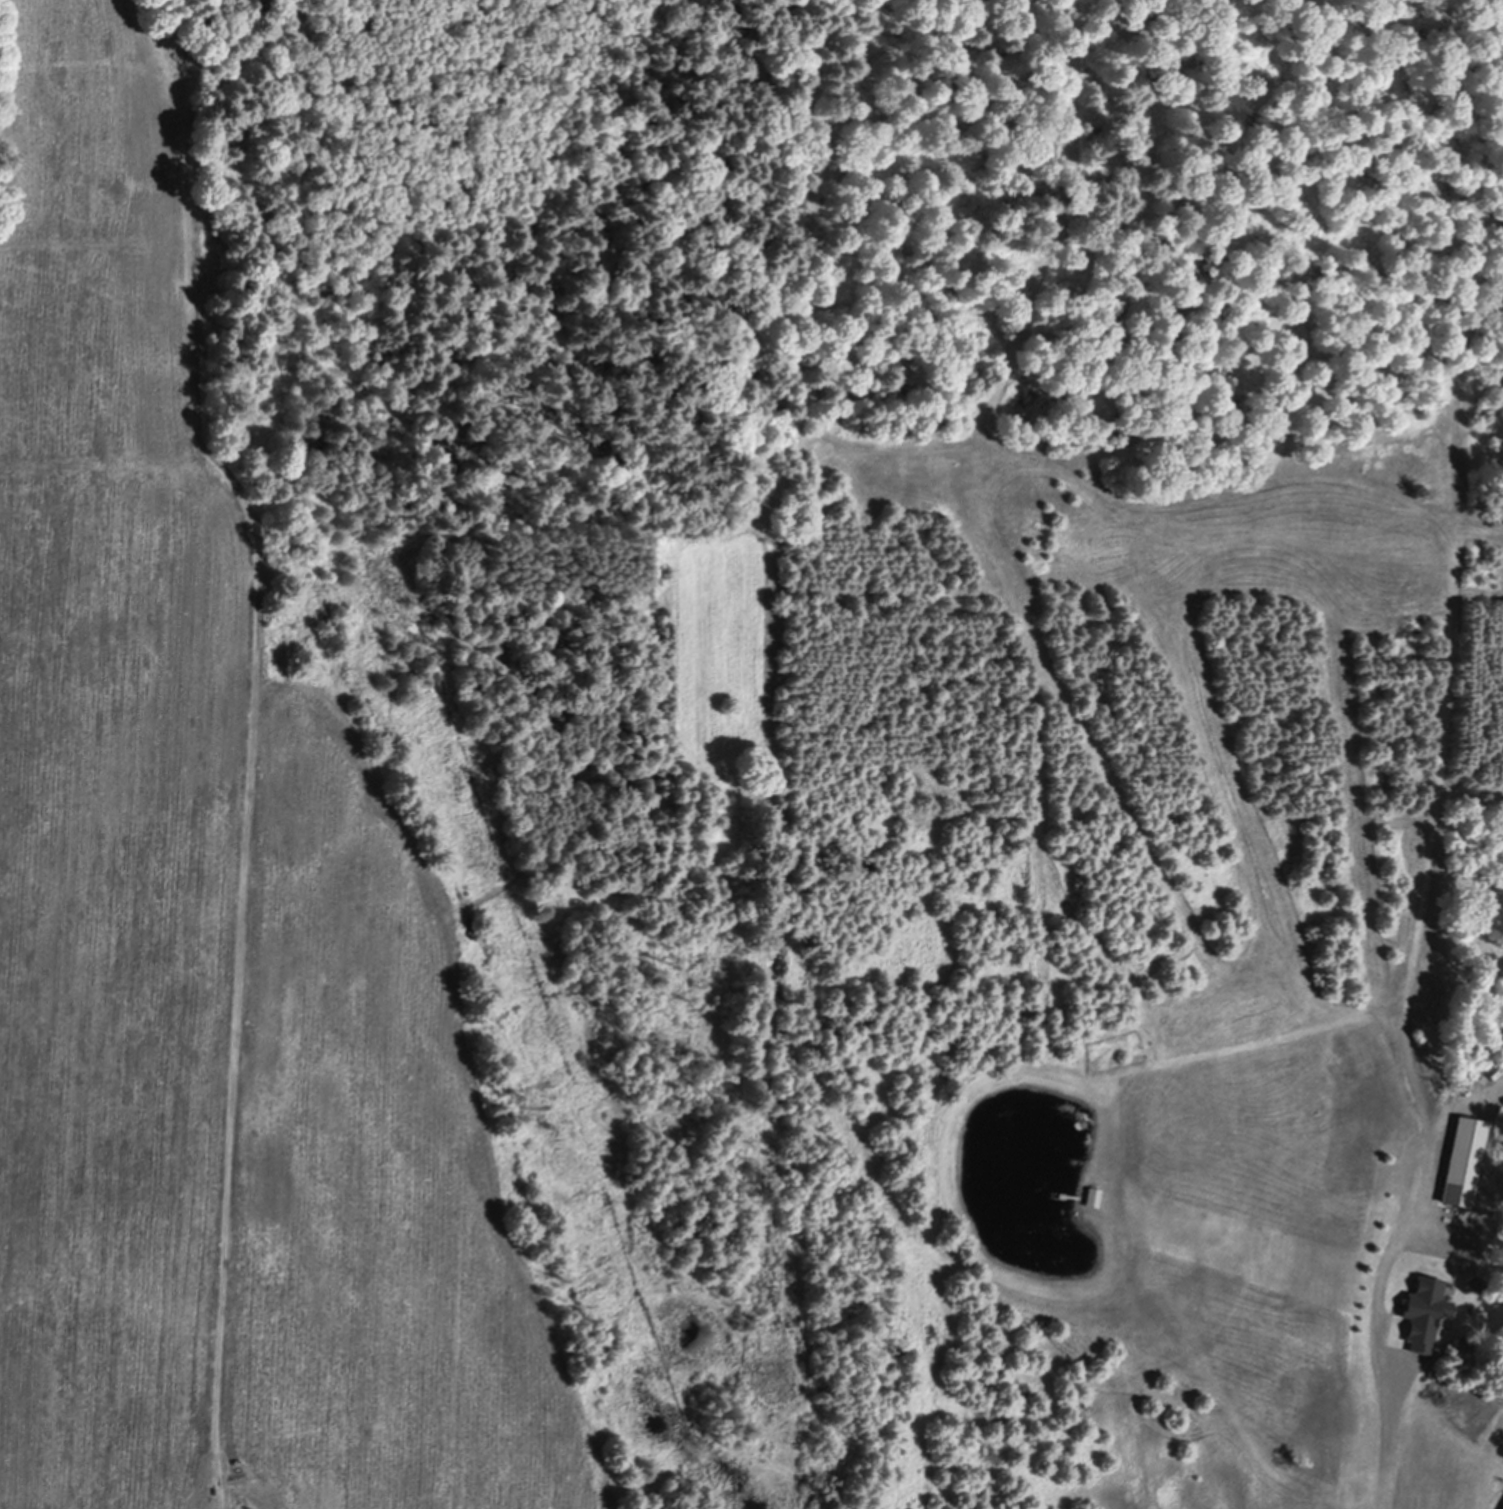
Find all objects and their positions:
building: (1463, 1158)
building: (1096, 1197)
building: (1425, 1309)
road: (1386, 1448)
building: (1502, 1508)

